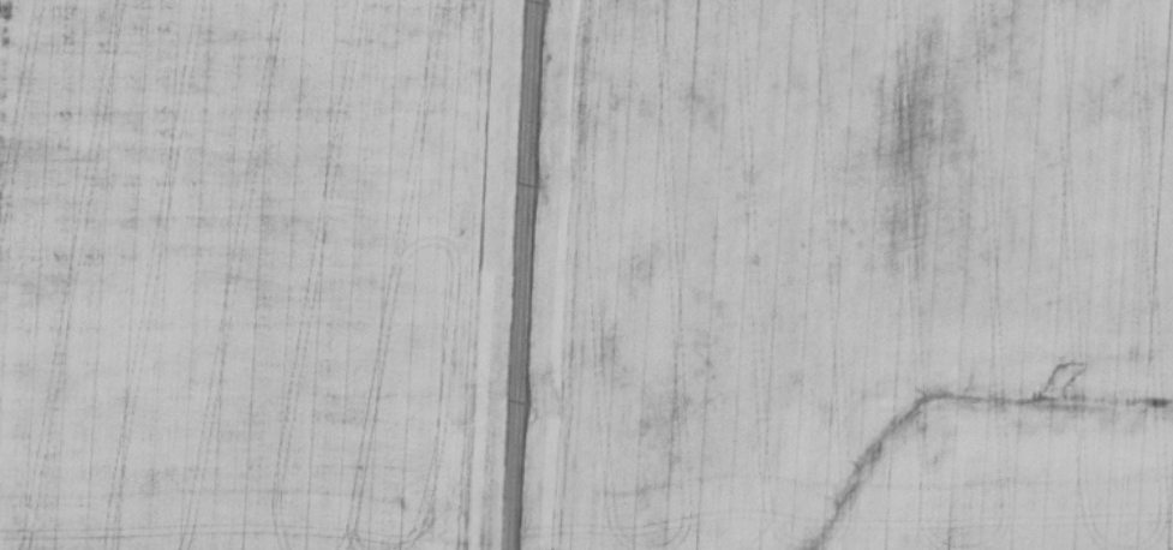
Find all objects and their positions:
road: (522, 274)

